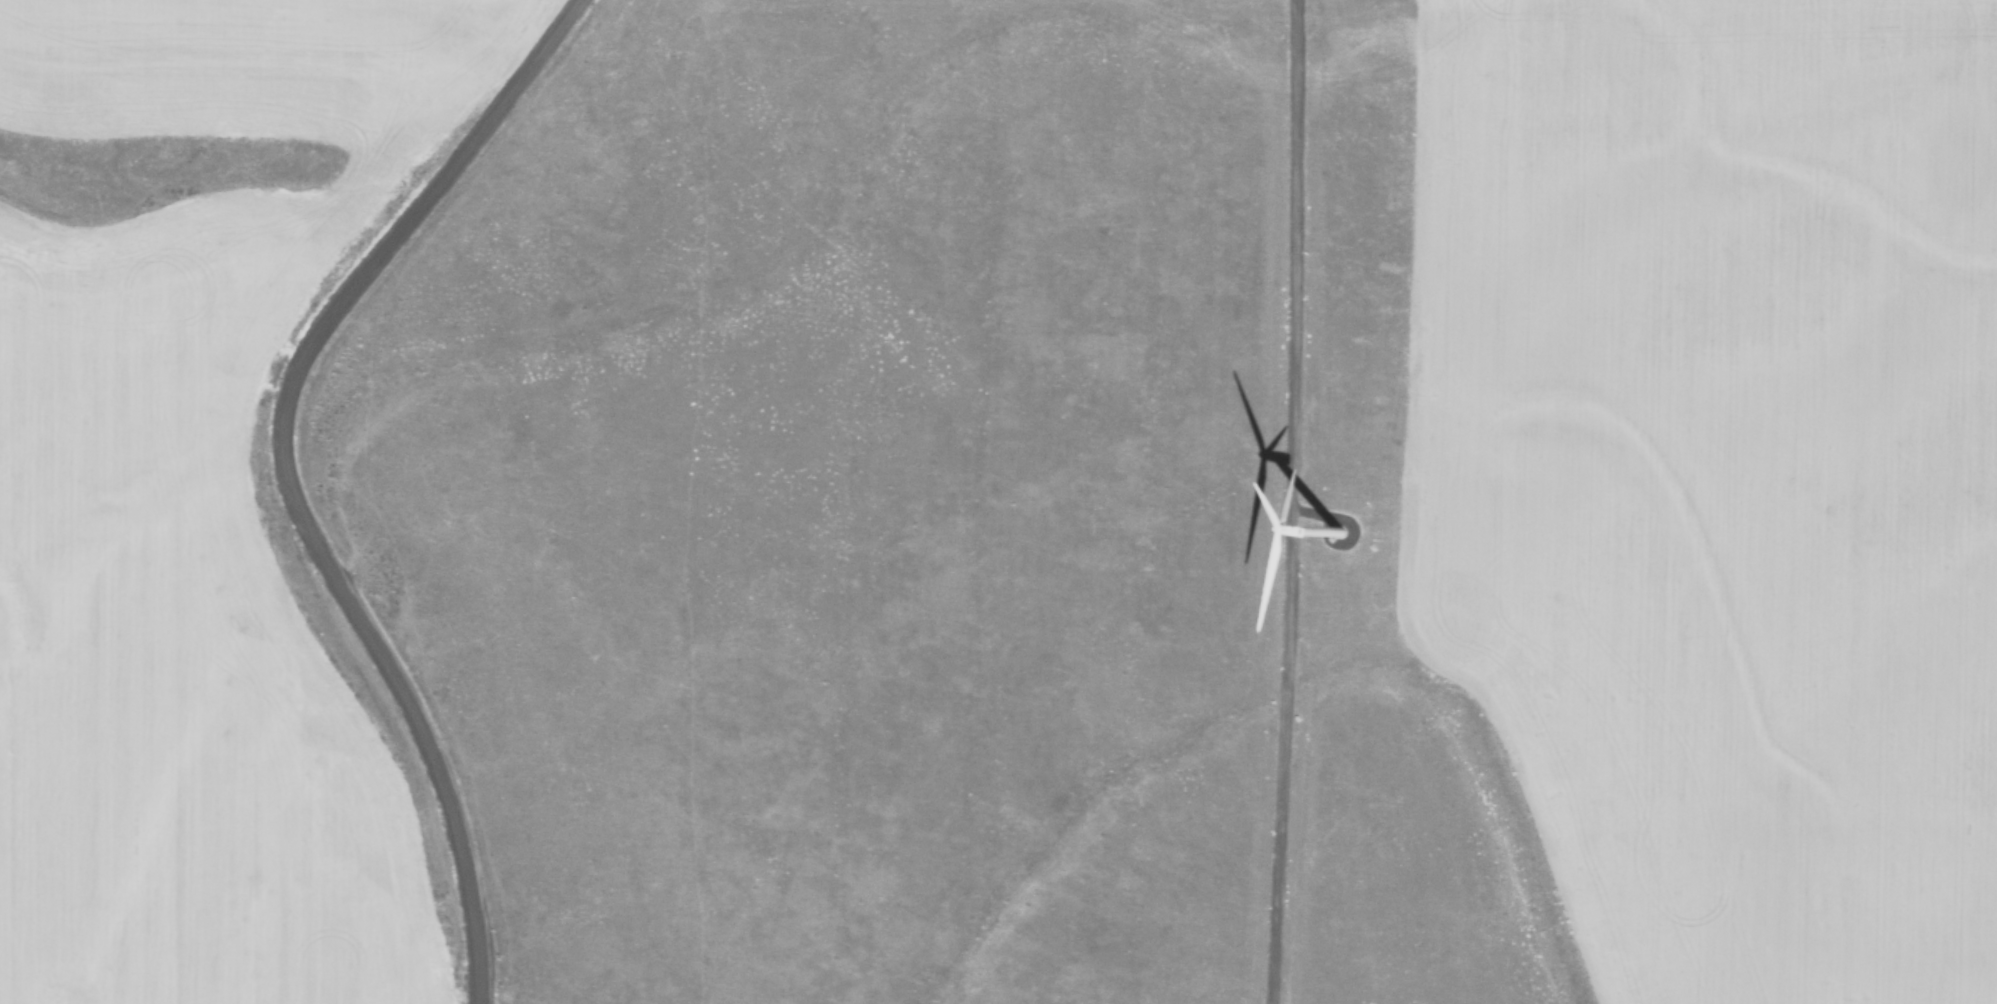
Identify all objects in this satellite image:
road: (288, 474)
road: (1279, 502)
wind turbine: (1339, 533)

